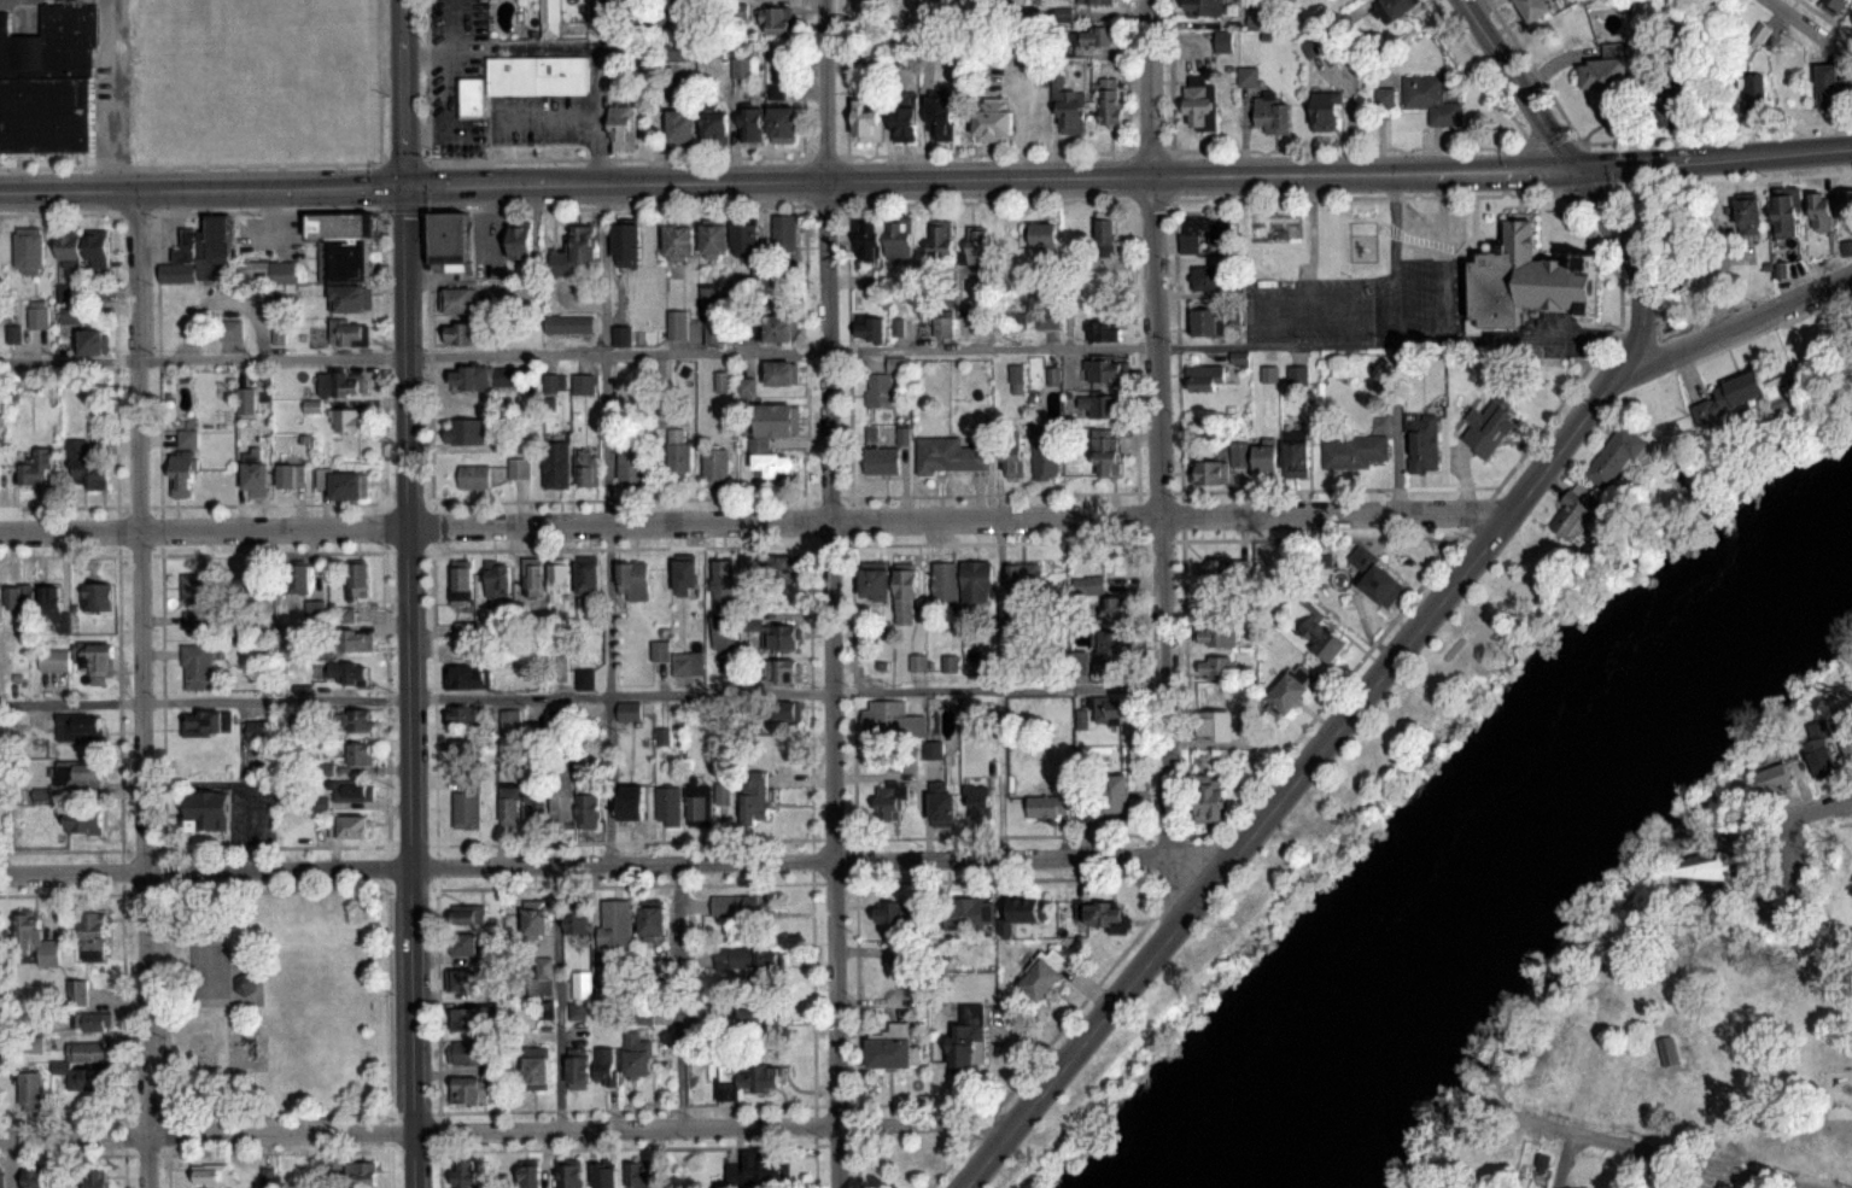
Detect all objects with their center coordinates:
building: (1092, 1)
building: (1207, 6)
building: (1396, 7)
building: (1533, 8)
road: (1825, 17)
building: (550, 18)
building: (776, 22)
road: (1811, 28)
building: (1096, 36)
building: (1225, 40)
road: (1480, 70)
road: (1531, 70)
building: (1603, 72)
building: (536, 75)
building: (48, 83)
building: (1831, 88)
road: (111, 94)
road: (440, 95)
building: (468, 96)
building: (1385, 98)
building: (1111, 100)
building: (1432, 100)
building: (1202, 101)
building: (1069, 110)
building: (1326, 111)
building: (1272, 112)
road: (545, 118)
building: (941, 121)
building: (784, 122)
building: (905, 122)
building: (993, 122)
building: (750, 123)
building: (866, 123)
building: (680, 124)
building: (715, 125)
building: (623, 127)
road: (1714, 131)
road: (1547, 142)
road: (968, 152)
road: (189, 164)
road: (1591, 164)
road: (1535, 168)
traffic signals: (1570, 168)
road: (925, 177)
road: (1729, 179)
road: (1579, 181)
traffic signals: (403, 185)
road: (1583, 192)
road: (989, 200)
building: (1847, 207)
building: (1821, 210)
road: (185, 211)
building: (1748, 213)
building: (1784, 213)
building: (338, 224)
building: (785, 233)
building: (746, 235)
building: (1045, 235)
building: (1205, 235)
building: (714, 236)
building: (1106, 236)
building: (521, 238)
building: (900, 238)
building: (941, 238)
building: (679, 240)
building: (869, 240)
building: (446, 241)
building: (629, 241)
building: (978, 242)
building: (83, 248)
building: (211, 248)
building: (29, 250)
building: (574, 252)
road: (1442, 256)
building: (345, 259)
road: (602, 262)
building: (265, 270)
building: (1208, 277)
building: (1523, 280)
building: (350, 298)
building: (460, 299)
road: (1301, 299)
building: (37, 316)
building: (1208, 321)
road: (1733, 321)
building: (569, 322)
building: (677, 323)
building: (942, 324)
building: (230, 328)
building: (870, 328)
building: (1103, 328)
building: (779, 329)
building: (462, 332)
building: (349, 333)
building: (713, 333)
building: (90, 341)
road: (1392, 343)
road: (819, 351)
building: (1111, 370)
building: (779, 373)
building: (1269, 374)
building: (1298, 375)
building: (471, 376)
building: (1207, 378)
building: (335, 382)
building: (583, 382)
building: (878, 390)
building: (1727, 398)
building: (246, 400)
building: (1104, 405)
building: (346, 420)
building: (776, 420)
building: (1489, 428)
building: (465, 431)
building: (1422, 443)
building: (678, 449)
building: (1105, 451)
building: (1356, 452)
building: (953, 453)
building: (1266, 453)
building: (1296, 453)
building: (1046, 456)
building: (1614, 457)
road: (1135, 458)
building: (1013, 460)
building: (882, 461)
building: (557, 463)
building: (632, 463)
building: (775, 464)
building: (37, 466)
building: (183, 466)
building: (715, 466)
road: (1161, 466)
building: (519, 467)
building: (586, 467)
building: (86, 468)
building: (1210, 472)
building: (477, 475)
building: (291, 476)
building: (255, 478)
building: (344, 485)
road: (748, 496)
building: (1575, 515)
road: (750, 522)
road: (729, 545)
building: (787, 568)
building: (685, 573)
building: (589, 574)
building: (1023, 574)
building: (297, 577)
building: (533, 577)
building: (357, 578)
building: (497, 578)
building: (560, 578)
building: (876, 579)
building: (1379, 579)
building: (633, 580)
building: (977, 580)
building: (945, 581)
building: (1221, 581)
building: (461, 584)
building: (1088, 584)
building: (197, 586)
building: (906, 592)
road: (407, 593)
road: (806, 593)
road: (832, 593)
road: (849, 593)
building: (98, 595)
building: (19, 601)
building: (723, 602)
building: (51, 607)
building: (312, 608)
building: (1115, 609)
building: (195, 615)
building: (1217, 634)
building: (783, 638)
building: (1321, 638)
building: (355, 639)
building: (1116, 646)
building: (660, 650)
building: (53, 659)
building: (97, 660)
building: (688, 662)
building: (197, 665)
building: (1216, 666)
building: (783, 671)
building: (347, 672)
building: (469, 675)
road: (140, 687)
building: (1290, 687)
road: (608, 694)
road: (583, 696)
road: (382, 698)
road: (431, 698)
road: (116, 700)
road: (159, 700)
road: (1322, 700)
building: (1112, 707)
building: (630, 710)
building: (784, 710)
building: (463, 715)
building: (883, 718)
building: (360, 719)
building: (510, 720)
building: (1217, 720)
building: (206, 721)
building: (78, 726)
building: (463, 748)
building: (360, 753)
building: (782, 754)
building: (1822, 755)
building: (77, 773)
road: (999, 774)
building: (1774, 779)
road: (1292, 784)
building: (350, 790)
building: (562, 792)
building: (1115, 794)
building: (723, 795)
building: (755, 796)
building: (978, 797)
building: (1209, 798)
road: (1803, 798)
building: (892, 800)
building: (631, 802)
building: (700, 802)
building: (942, 802)
building: (537, 804)
building: (668, 804)
building: (589, 806)
building: (1047, 806)
building: (468, 807)
building: (509, 807)
road: (1800, 808)
building: (206, 812)
building: (83, 821)
road: (1845, 821)
building: (350, 825)
river: (1519, 830)
road: (572, 841)
road: (618, 864)
building: (1711, 872)
road: (573, 884)
building: (746, 906)
building: (1027, 908)
building: (969, 911)
building: (468, 912)
building: (653, 915)
building: (1103, 915)
building: (536, 918)
building: (889, 919)
building: (577, 920)
building: (615, 923)
building: (93, 935)
building: (36, 937)
building: (465, 943)
building: (744, 956)
park: (209, 971)
building: (545, 975)
building: (1044, 975)
building: (466, 978)
building: (244, 982)
building: (81, 991)
road: (679, 995)
road: (556, 999)
park: (275, 1000)
road: (211, 1002)
park: (1719, 1009)
building: (467, 1019)
building: (93, 1020)
building: (966, 1040)
building: (892, 1048)
building: (1664, 1049)
building: (89, 1051)
building: (472, 1053)
building: (638, 1053)
building: (604, 1066)
building: (537, 1067)
building: (577, 1069)
building: (87, 1078)
building: (747, 1079)
building: (30, 1082)
building: (469, 1088)
road: (506, 1130)
road: (1652, 1152)
road: (1560, 1159)
building: (758, 1170)
building: (362, 1172)
building: (569, 1172)
building: (214, 1174)
building: (466, 1174)
building: (530, 1174)
building: (606, 1174)
building: (639, 1174)
building: (268, 1176)
building: (1, 1177)
building: (34, 1177)
building: (95, 1178)

